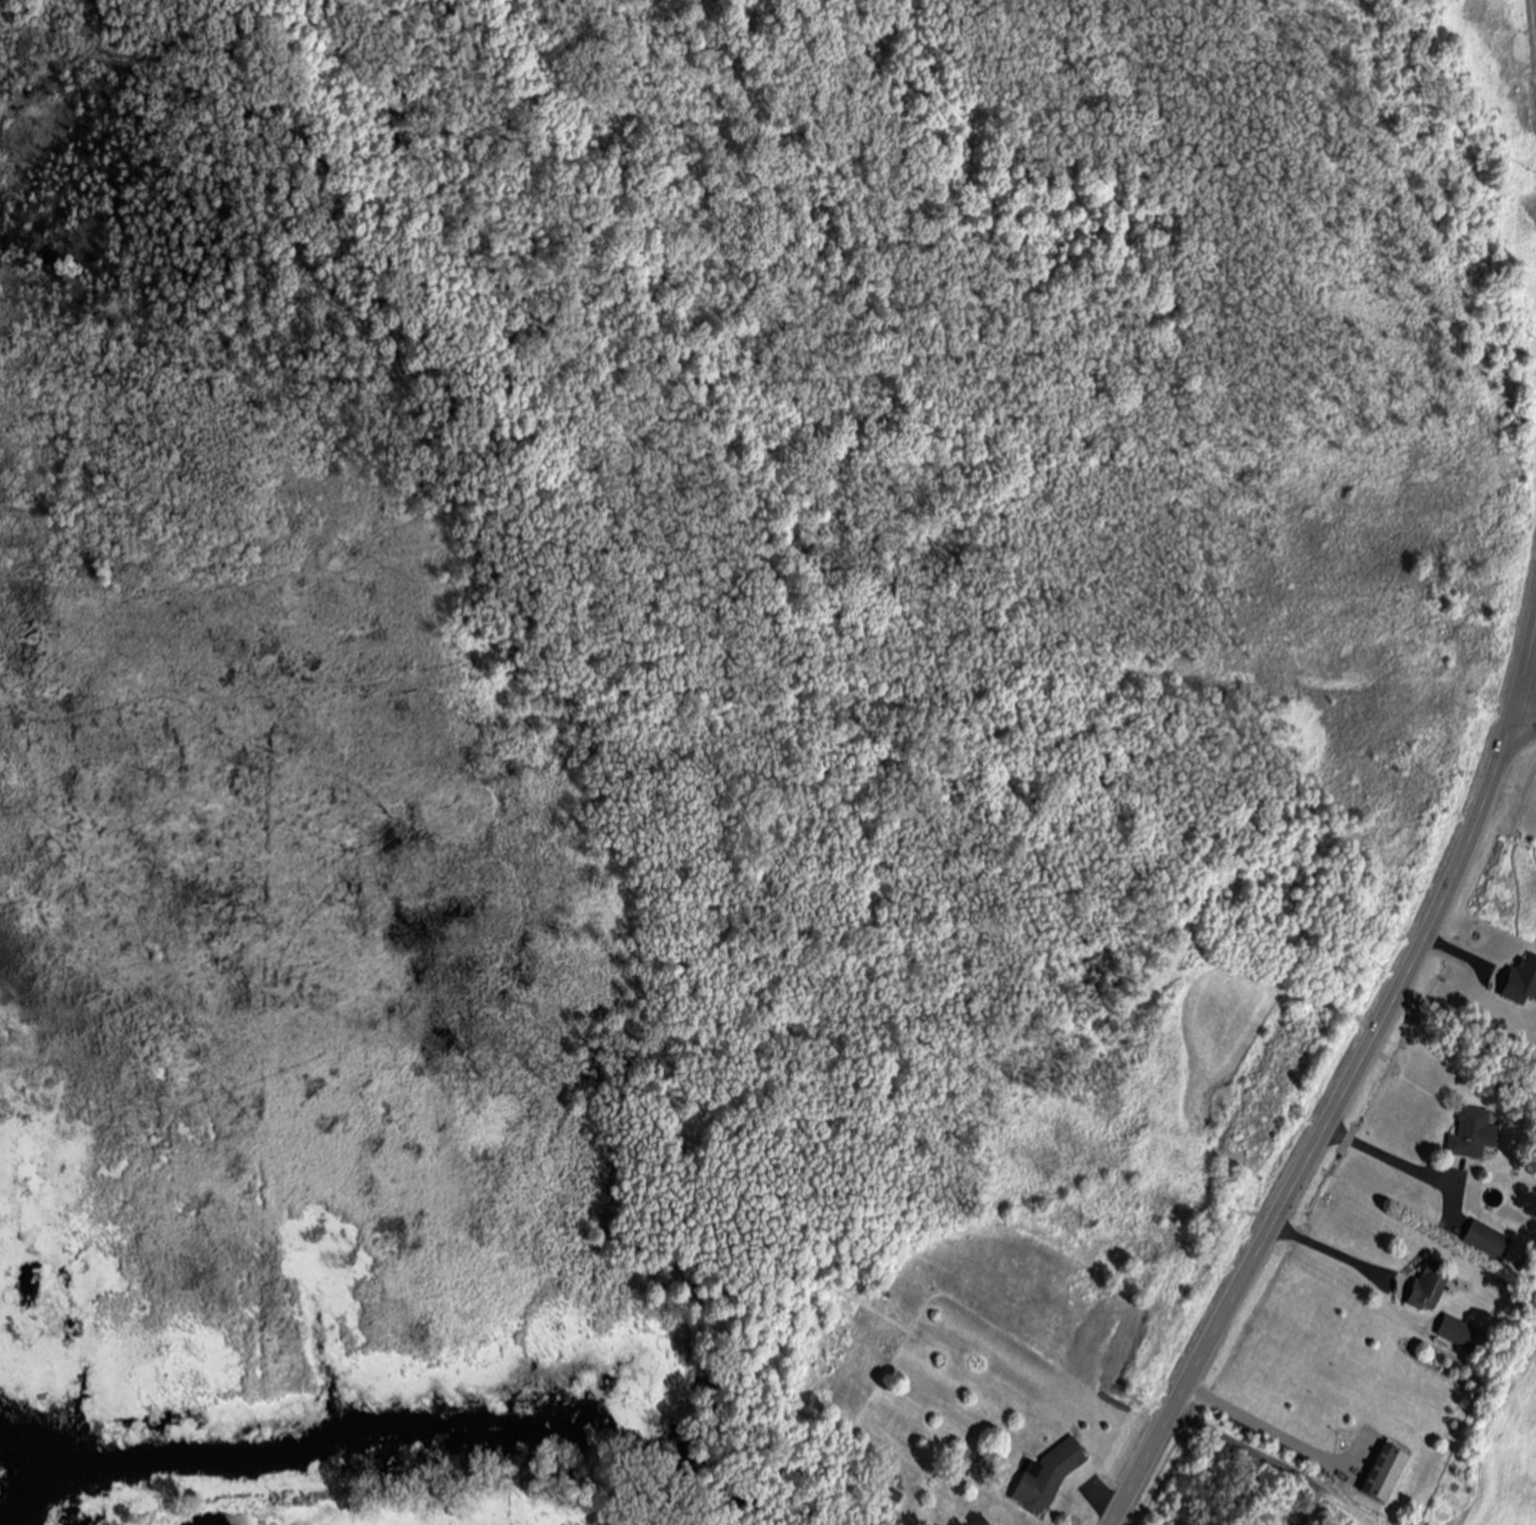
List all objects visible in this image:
road: (1526, 717)
building: (1521, 983)
road: (1348, 1092)
building: (1473, 1136)
road: (1391, 1159)
building: (1489, 1242)
road: (1328, 1254)
building: (1428, 1289)
building: (1457, 1333)
road: (1266, 1425)
road: (1250, 1454)
building: (1385, 1475)
building: (1050, 1478)
park: (1215, 1492)
building: (897, 1498)

